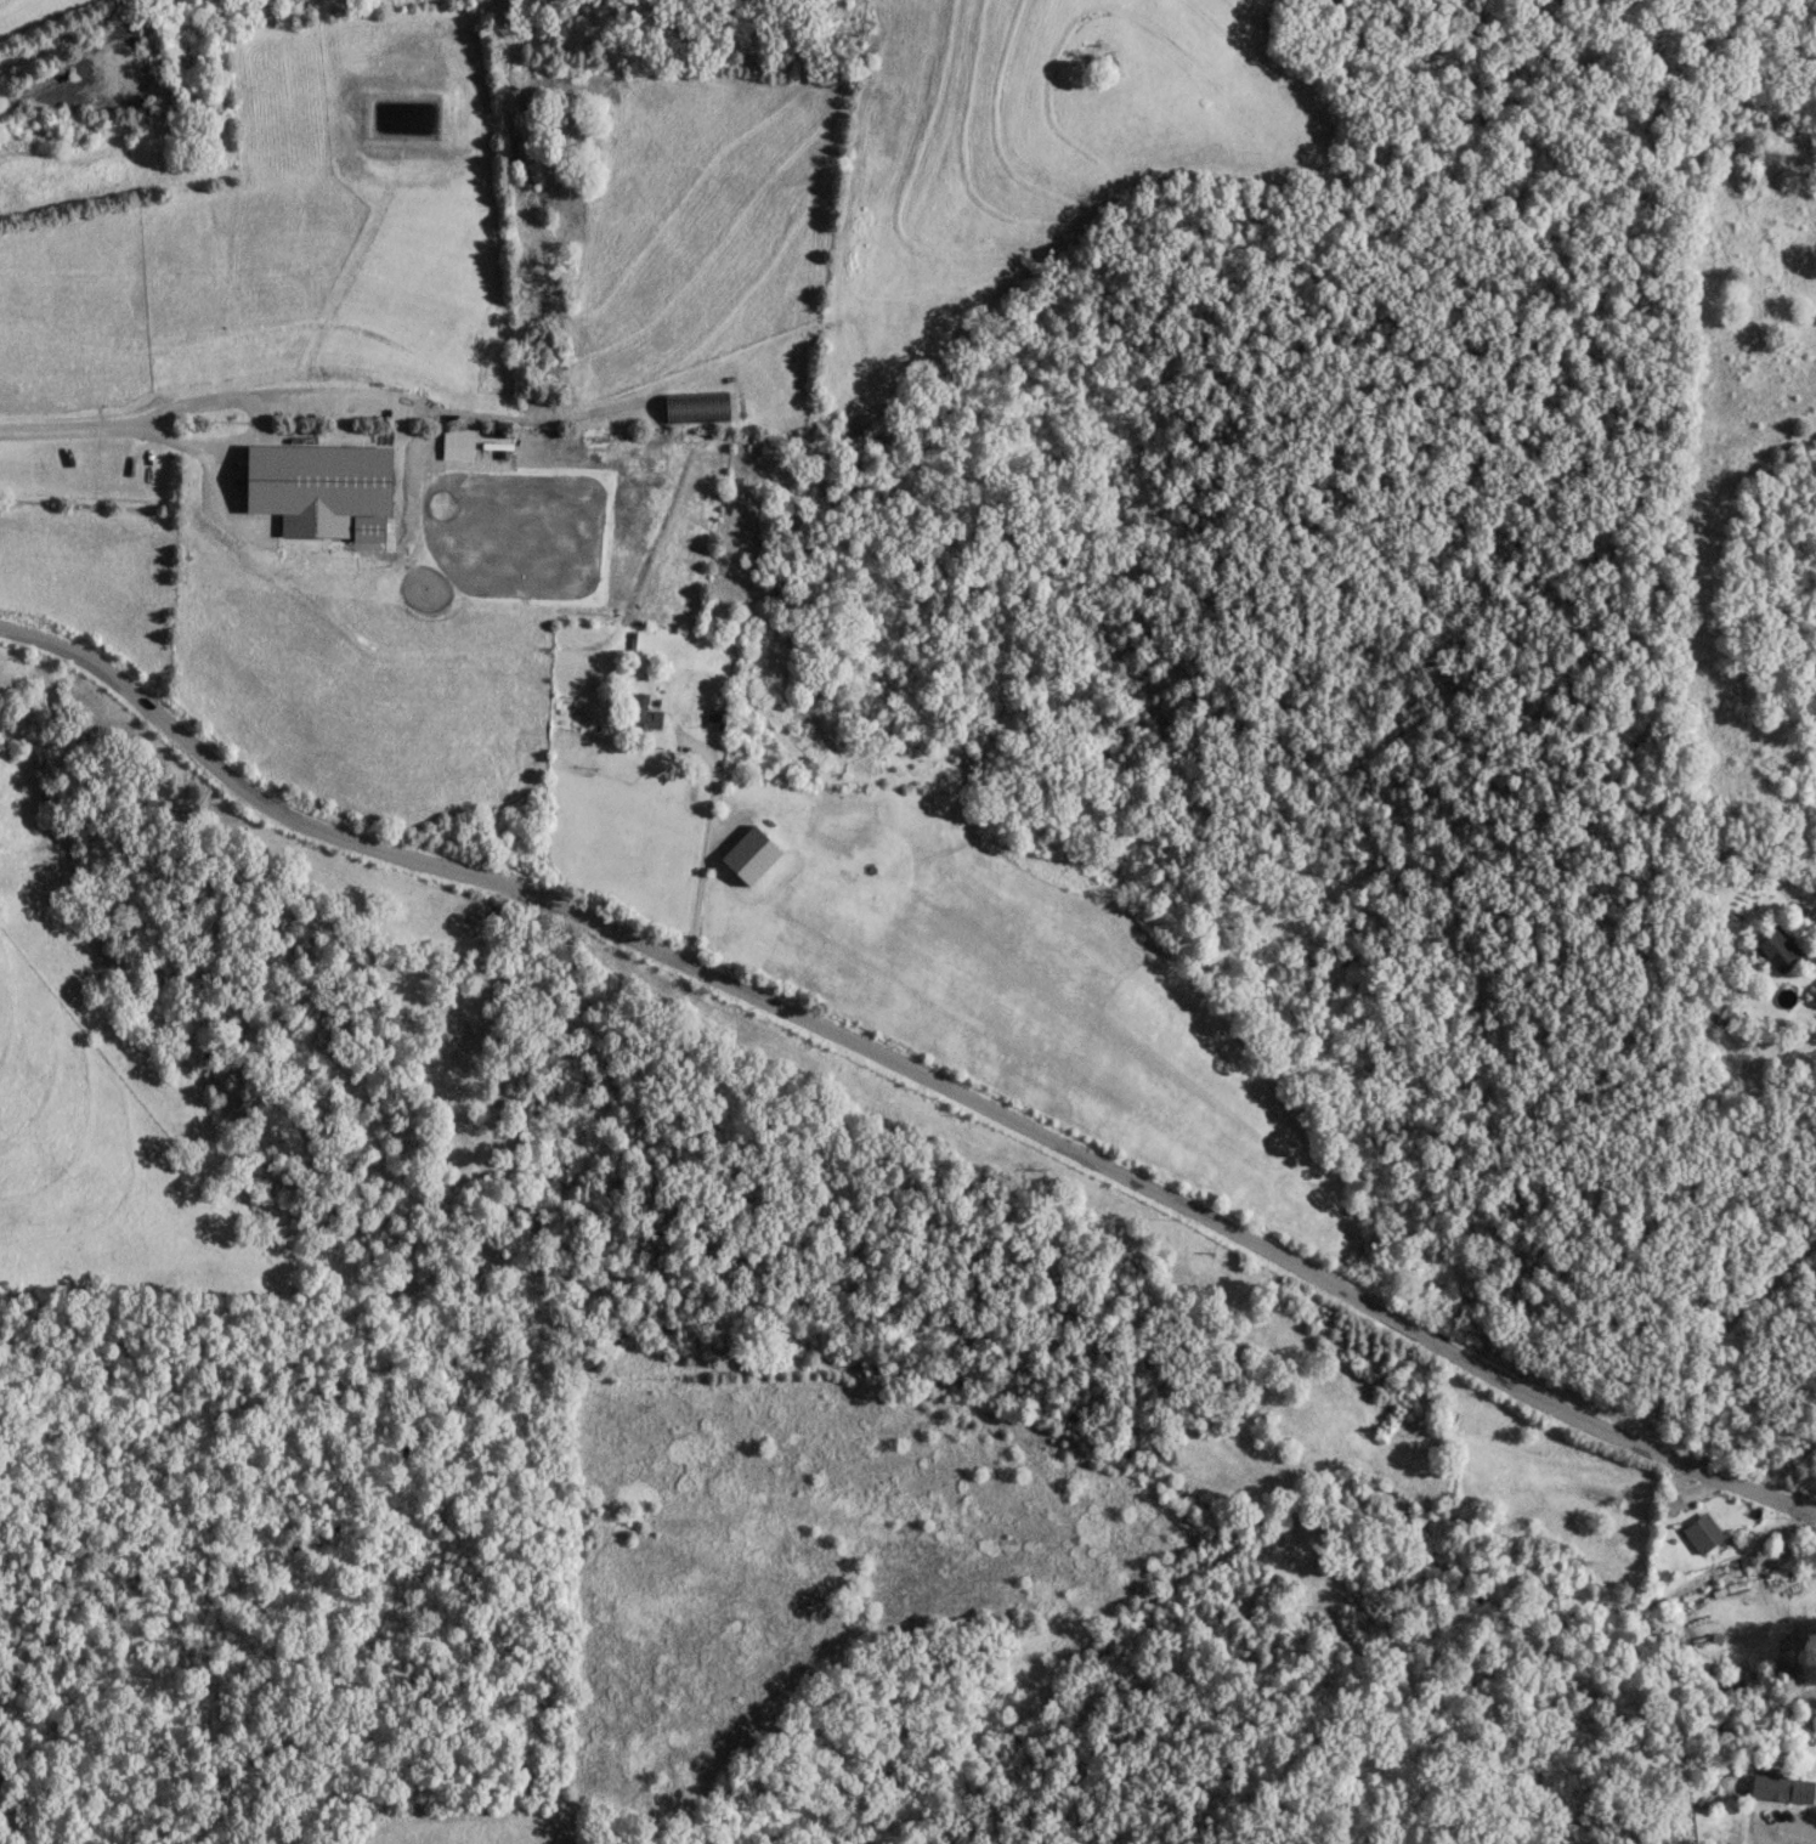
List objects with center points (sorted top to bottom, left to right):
road: (258, 414)
road: (449, 415)
road: (68, 428)
building: (645, 714)
building: (714, 717)
road: (705, 844)
building: (751, 850)
road: (1810, 905)
building: (1778, 946)
building: (1719, 1022)
road: (904, 1064)
road: (1713, 1333)
building: (1781, 1786)

